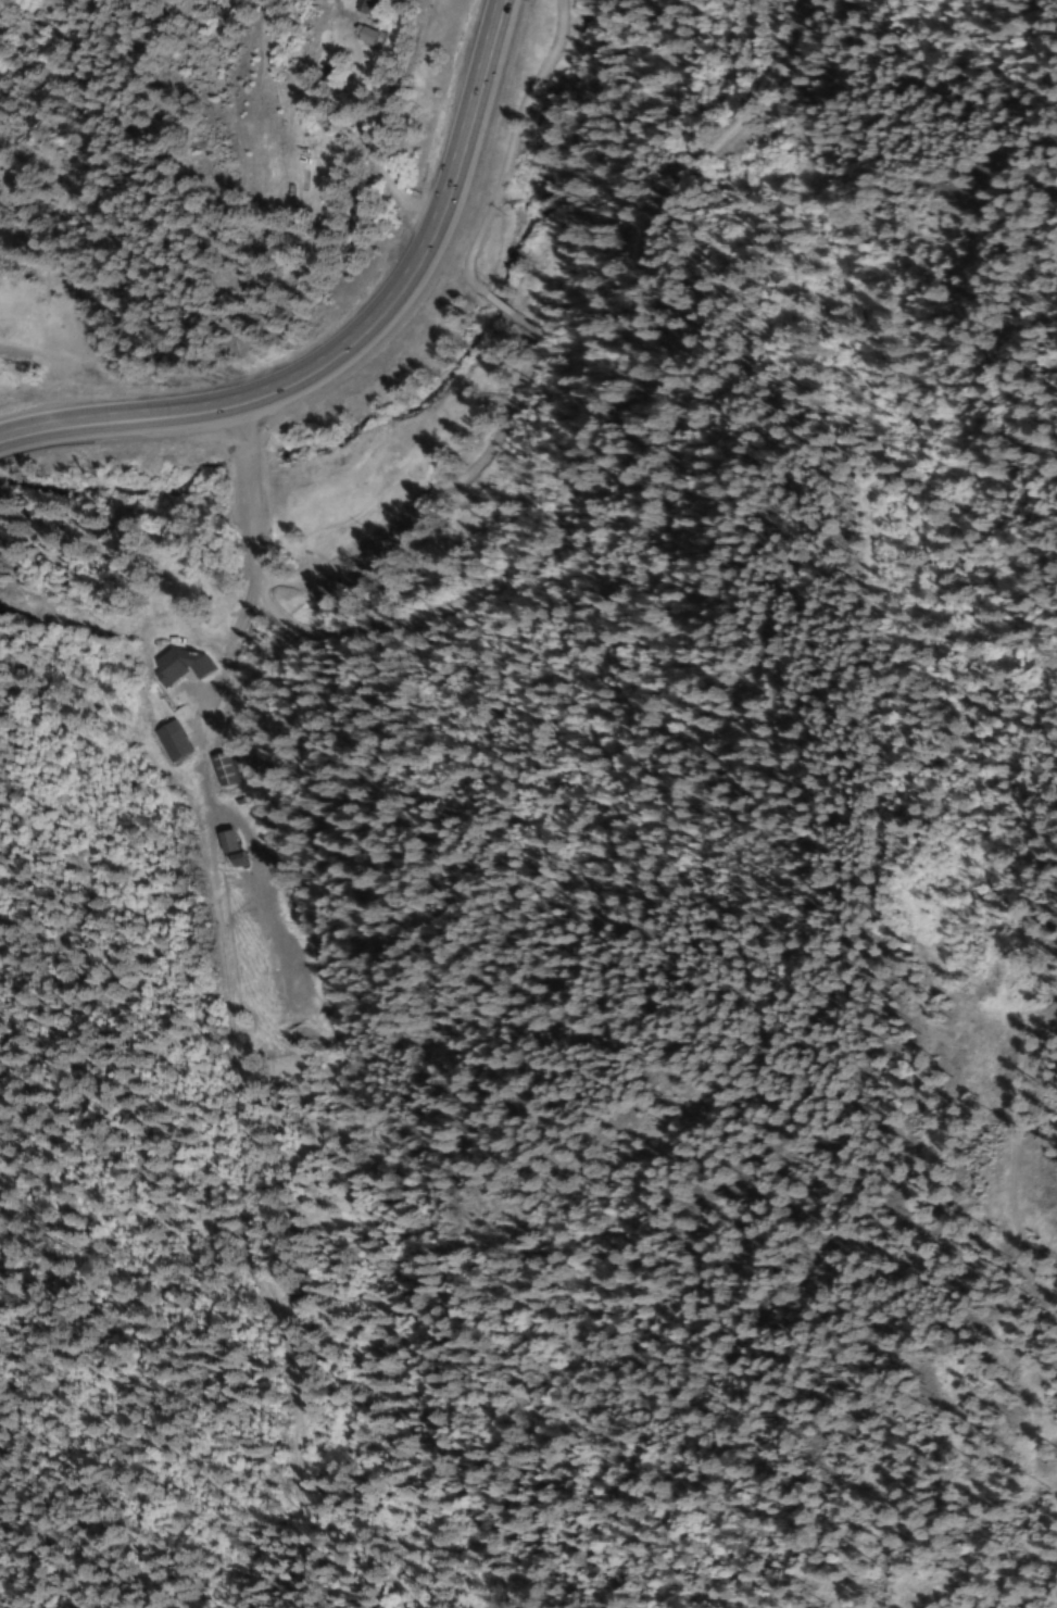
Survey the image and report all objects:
building: (375, 3)
building: (383, 37)
road: (468, 261)
road: (364, 349)
road: (613, 405)
road: (251, 487)
parking lot: (448, 491)
road: (366, 549)
road: (264, 566)
road: (266, 583)
building: (183, 665)
building: (175, 741)
building: (219, 770)
building: (232, 842)
road: (1012, 1160)

